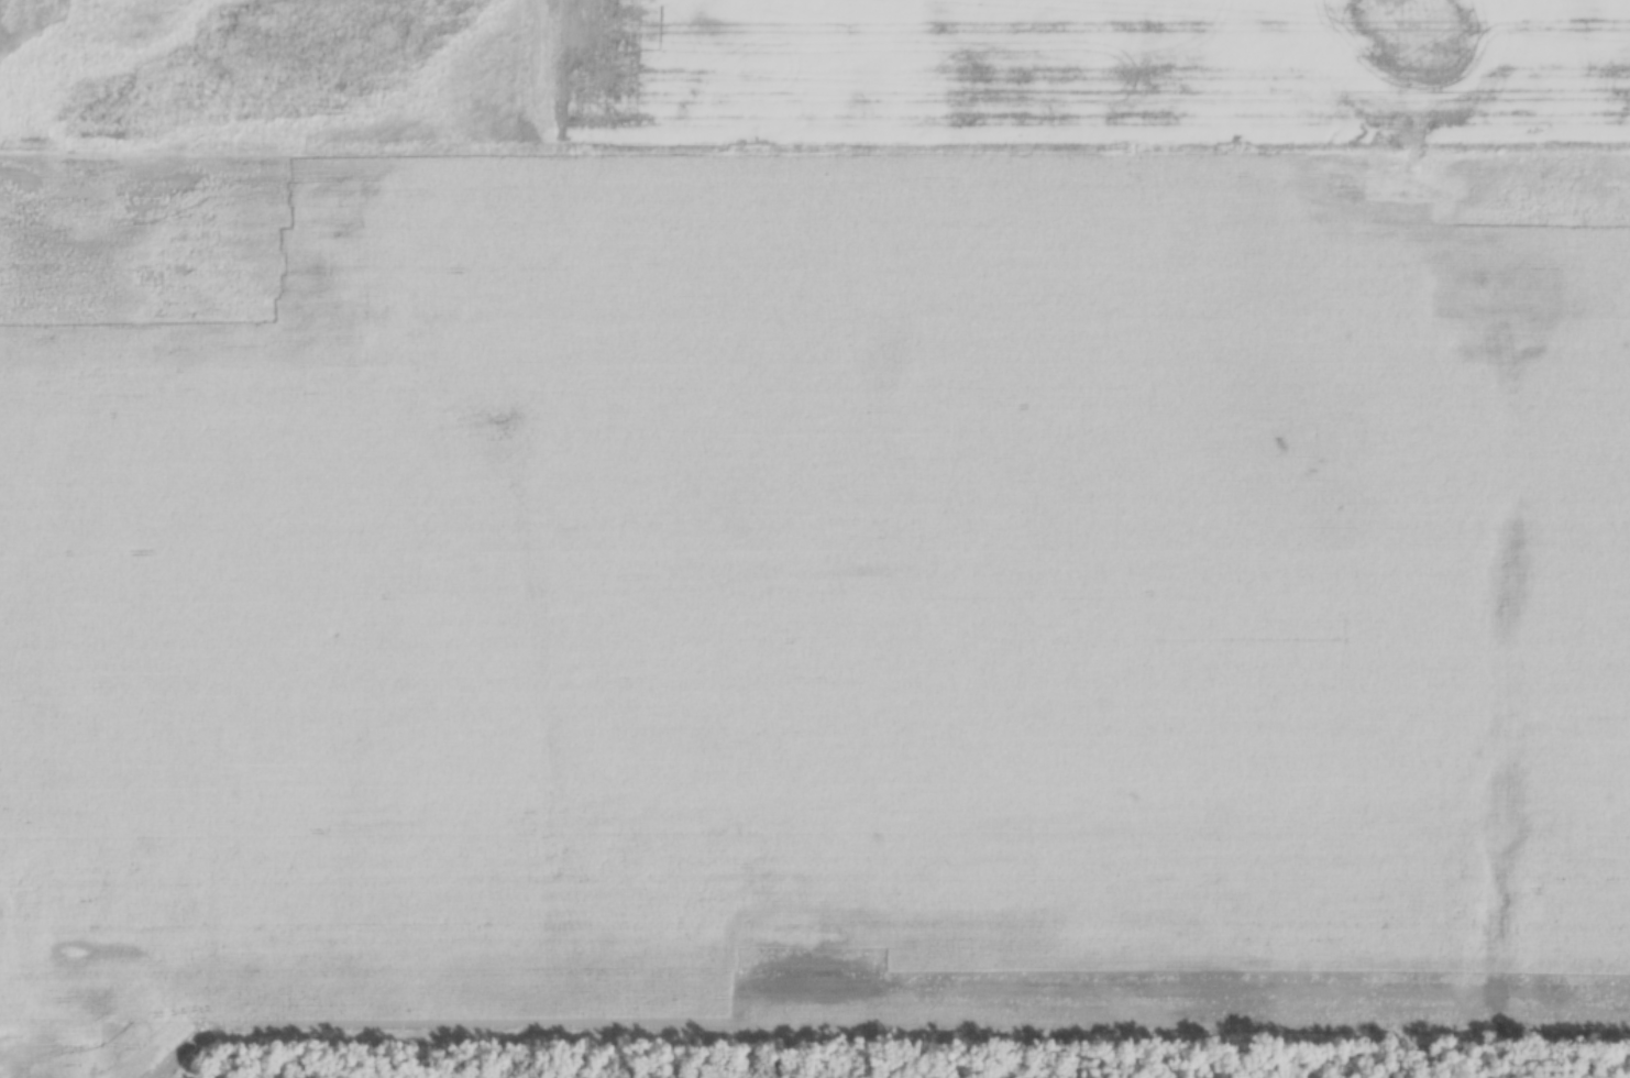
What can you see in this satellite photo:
building: (15, 1060)

